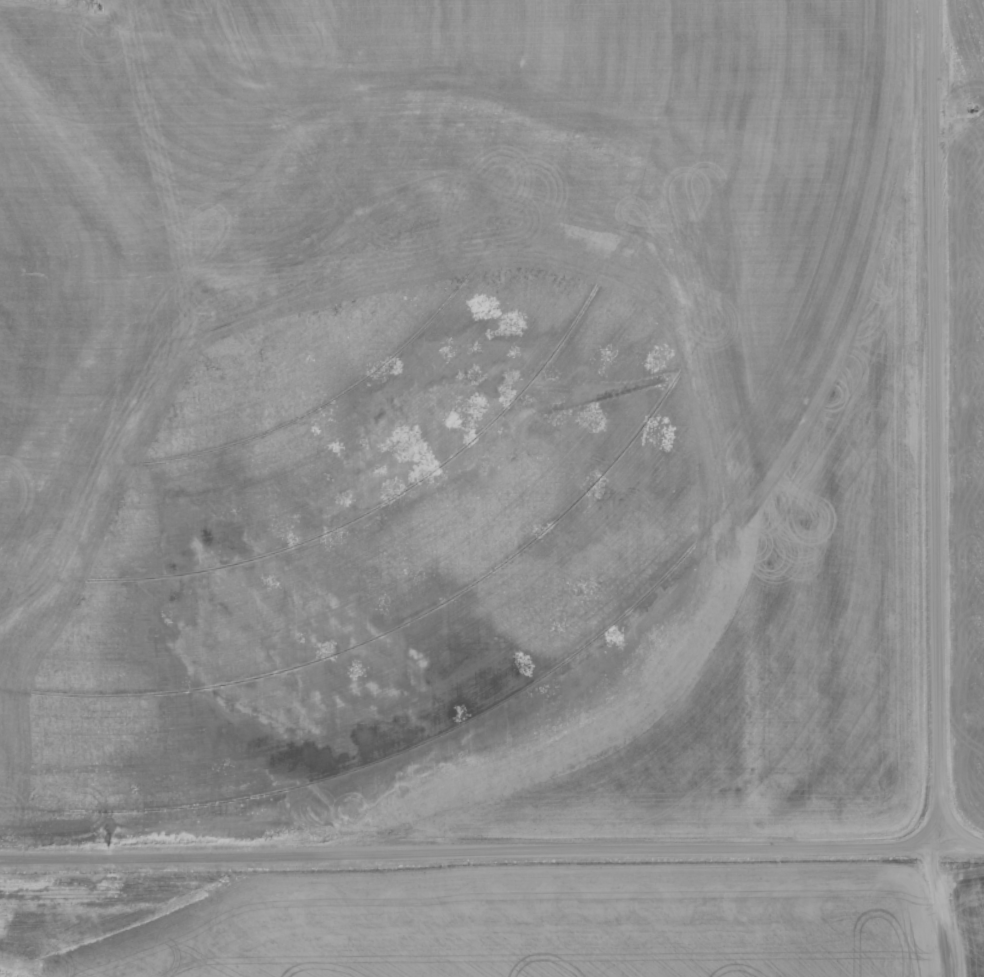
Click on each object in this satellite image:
road: (935, 423)
road: (492, 848)
road: (944, 911)

